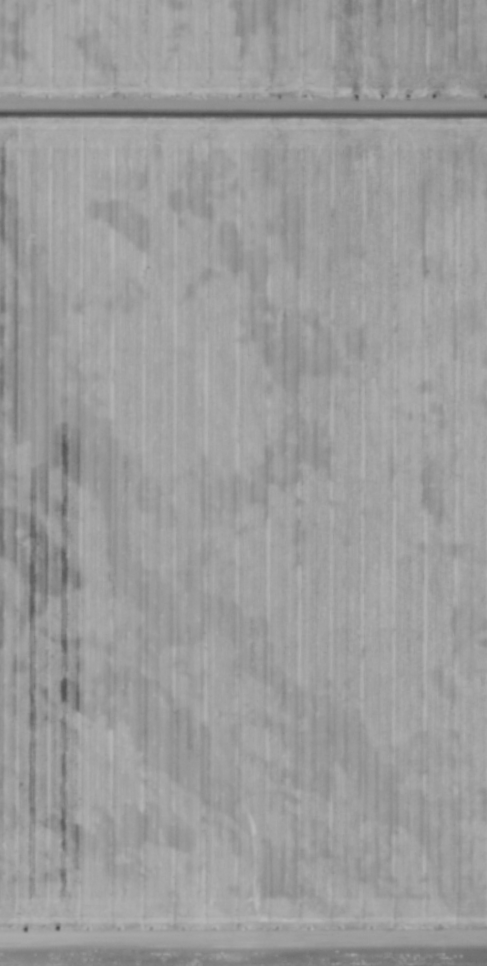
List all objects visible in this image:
road: (243, 102)

